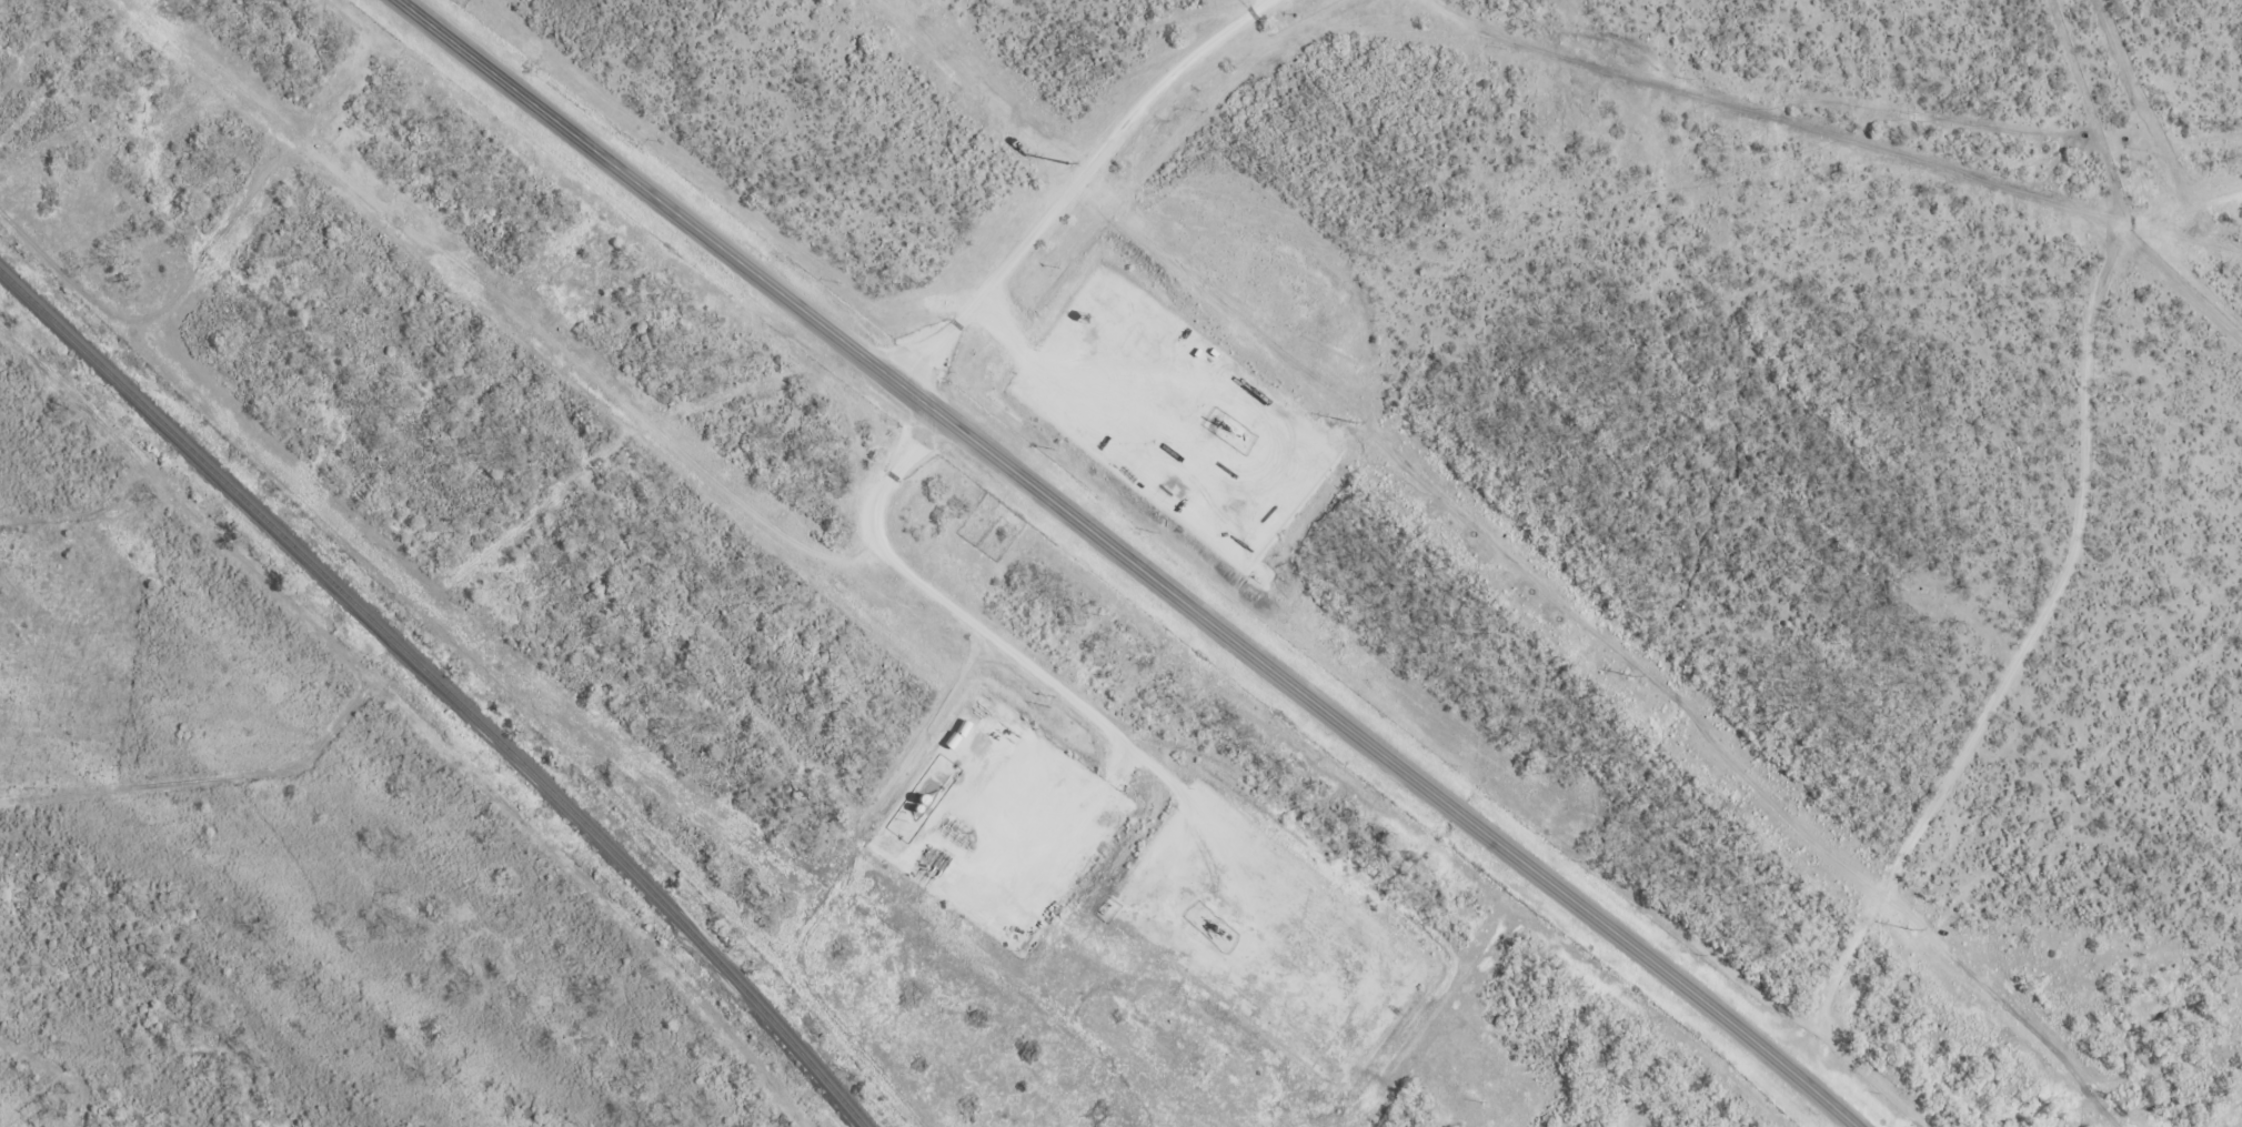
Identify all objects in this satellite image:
power tower: (1073, 167)
road: (1076, 180)
road: (1084, 406)
power tower: (1350, 417)
road: (1129, 561)
road: (2042, 612)
power tower: (1628, 670)
railway: (442, 686)
power tower: (1908, 927)

